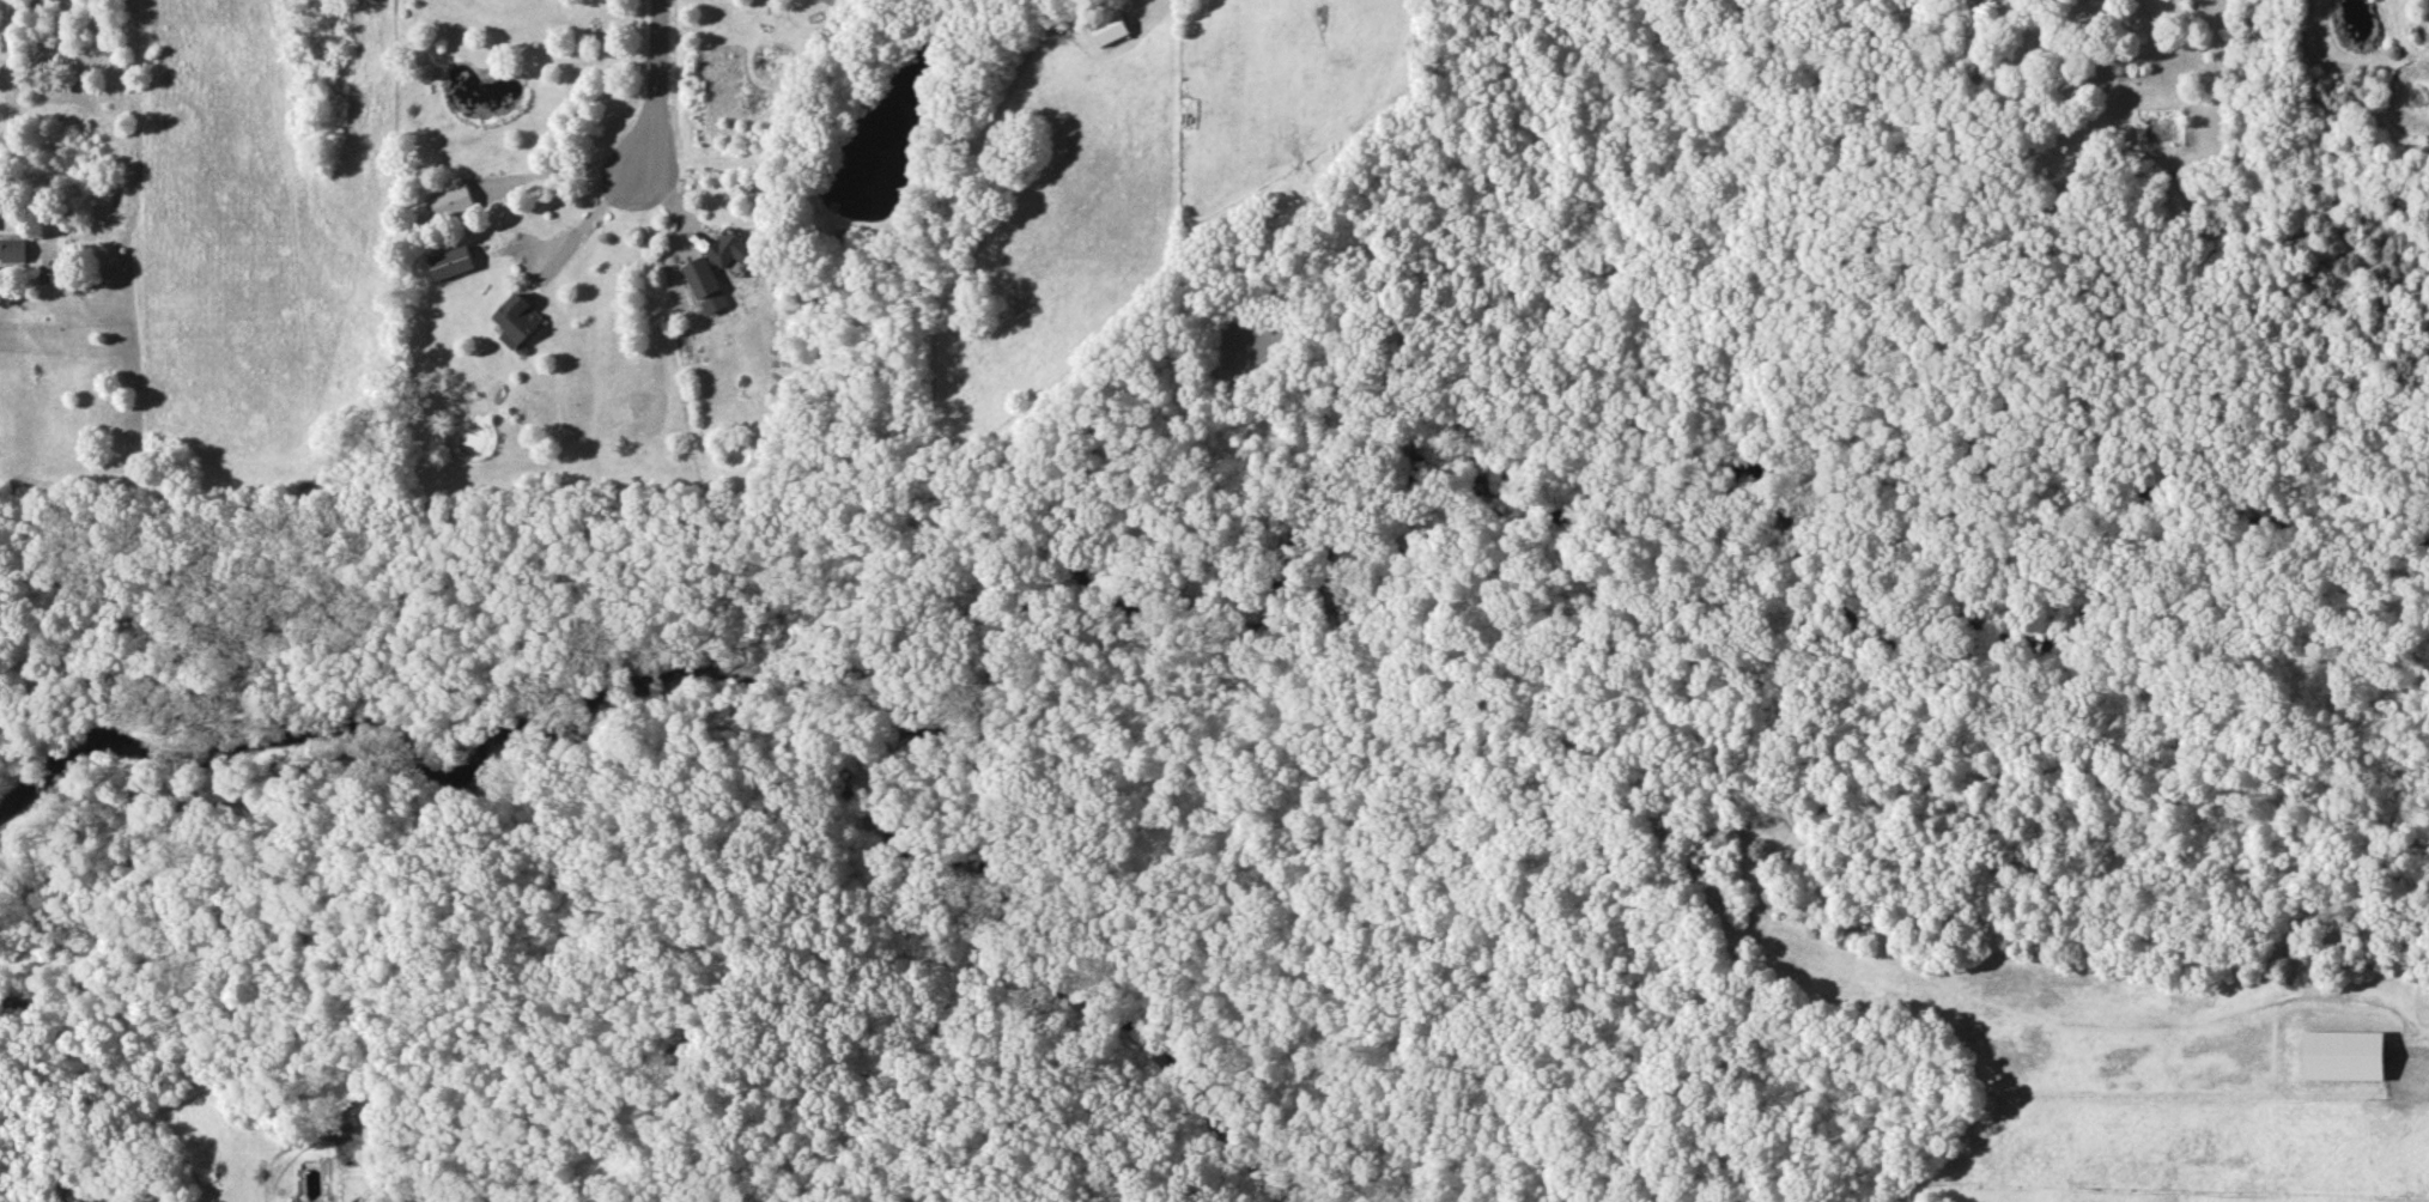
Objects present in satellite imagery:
building: (1109, 28)
road: (7, 51)
road: (648, 84)
road: (560, 166)
building: (451, 201)
road: (585, 217)
road: (113, 231)
building: (729, 248)
building: (12, 249)
building: (450, 261)
building: (705, 285)
building: (516, 320)
building: (2342, 1055)

